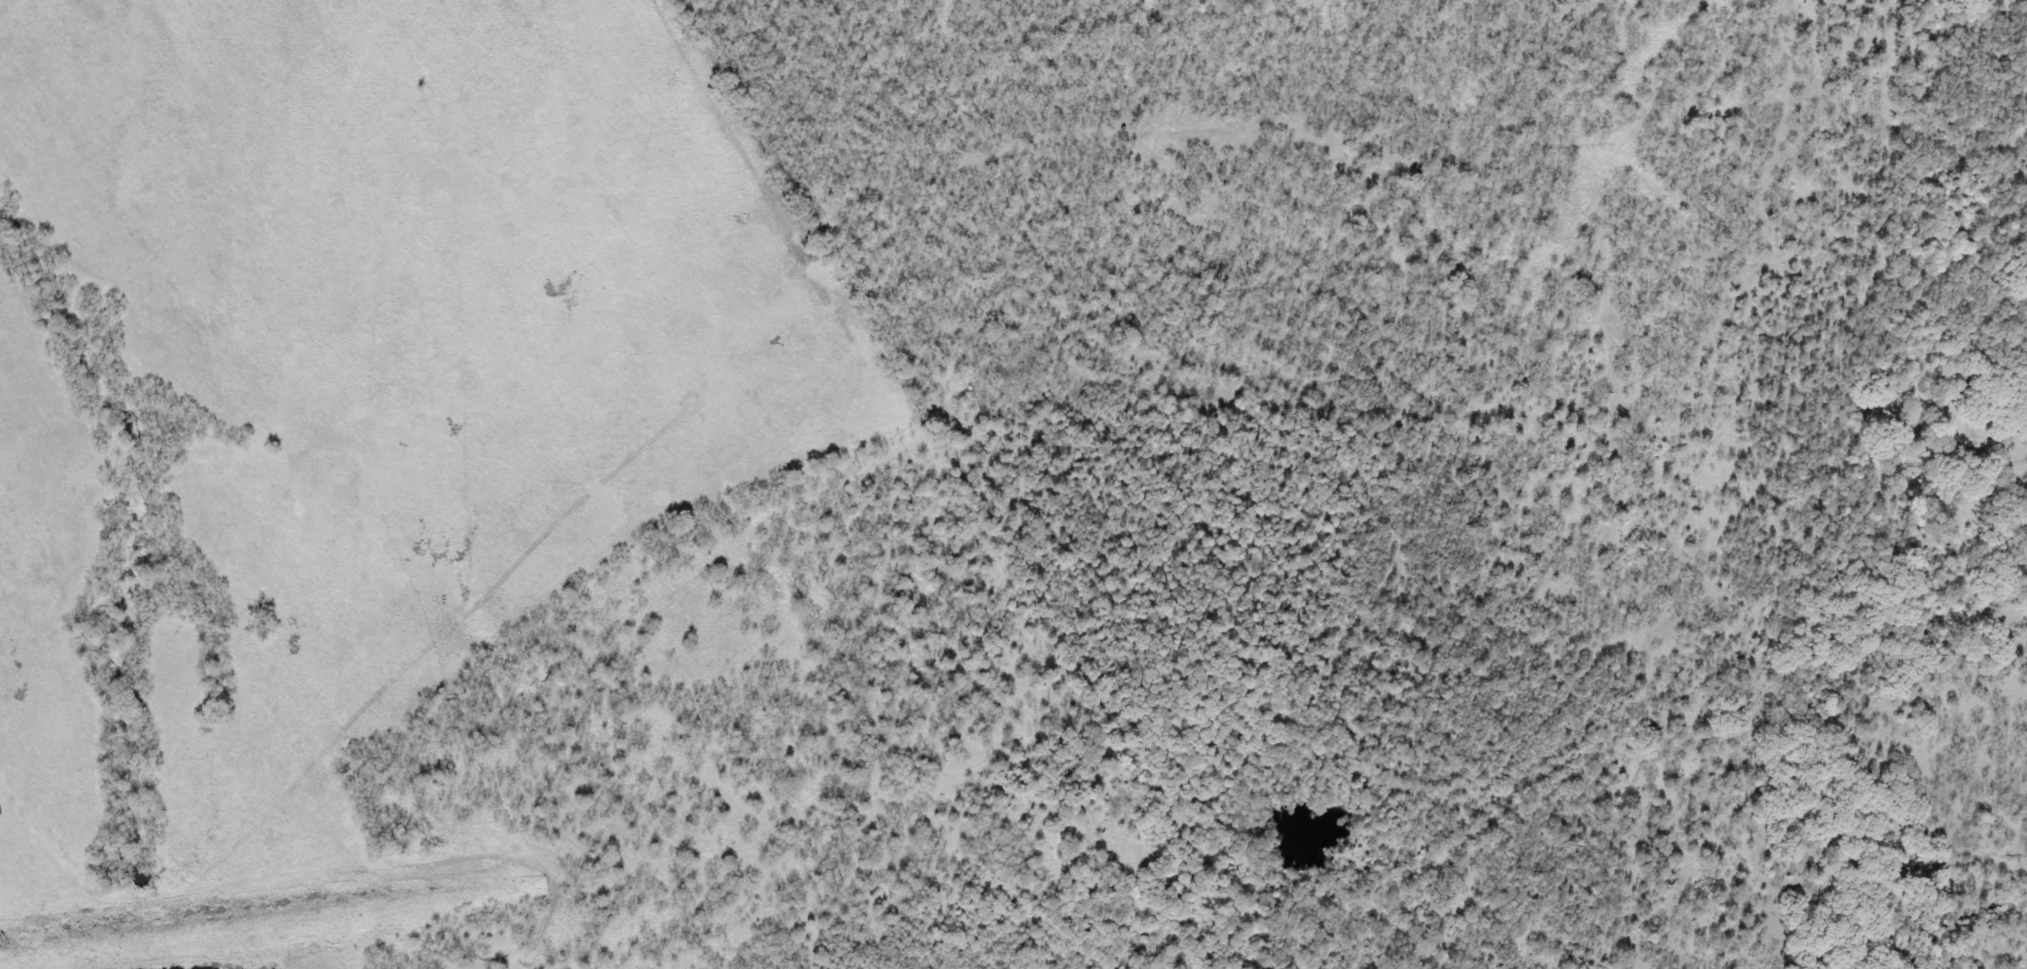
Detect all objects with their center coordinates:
road: (512, 856)
dam: (267, 920)

